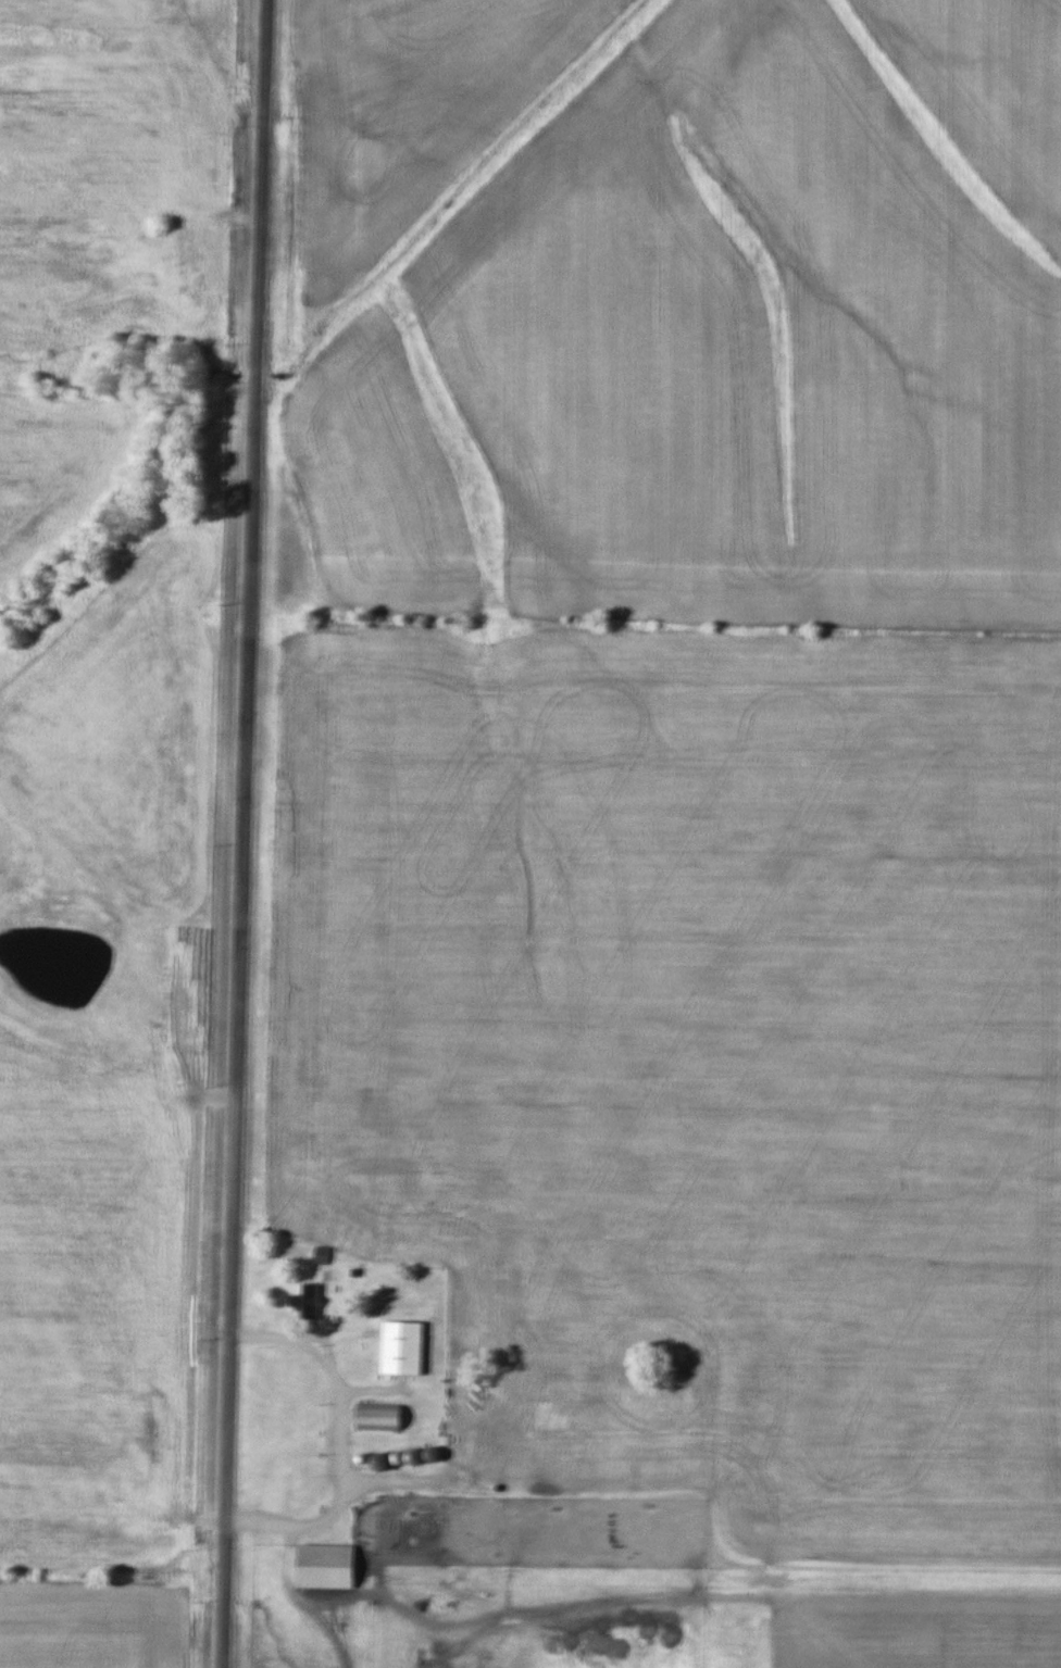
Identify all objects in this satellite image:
road: (242, 833)
building: (320, 1255)
building: (305, 1302)
building: (401, 1349)
building: (377, 1417)
building: (325, 1567)

